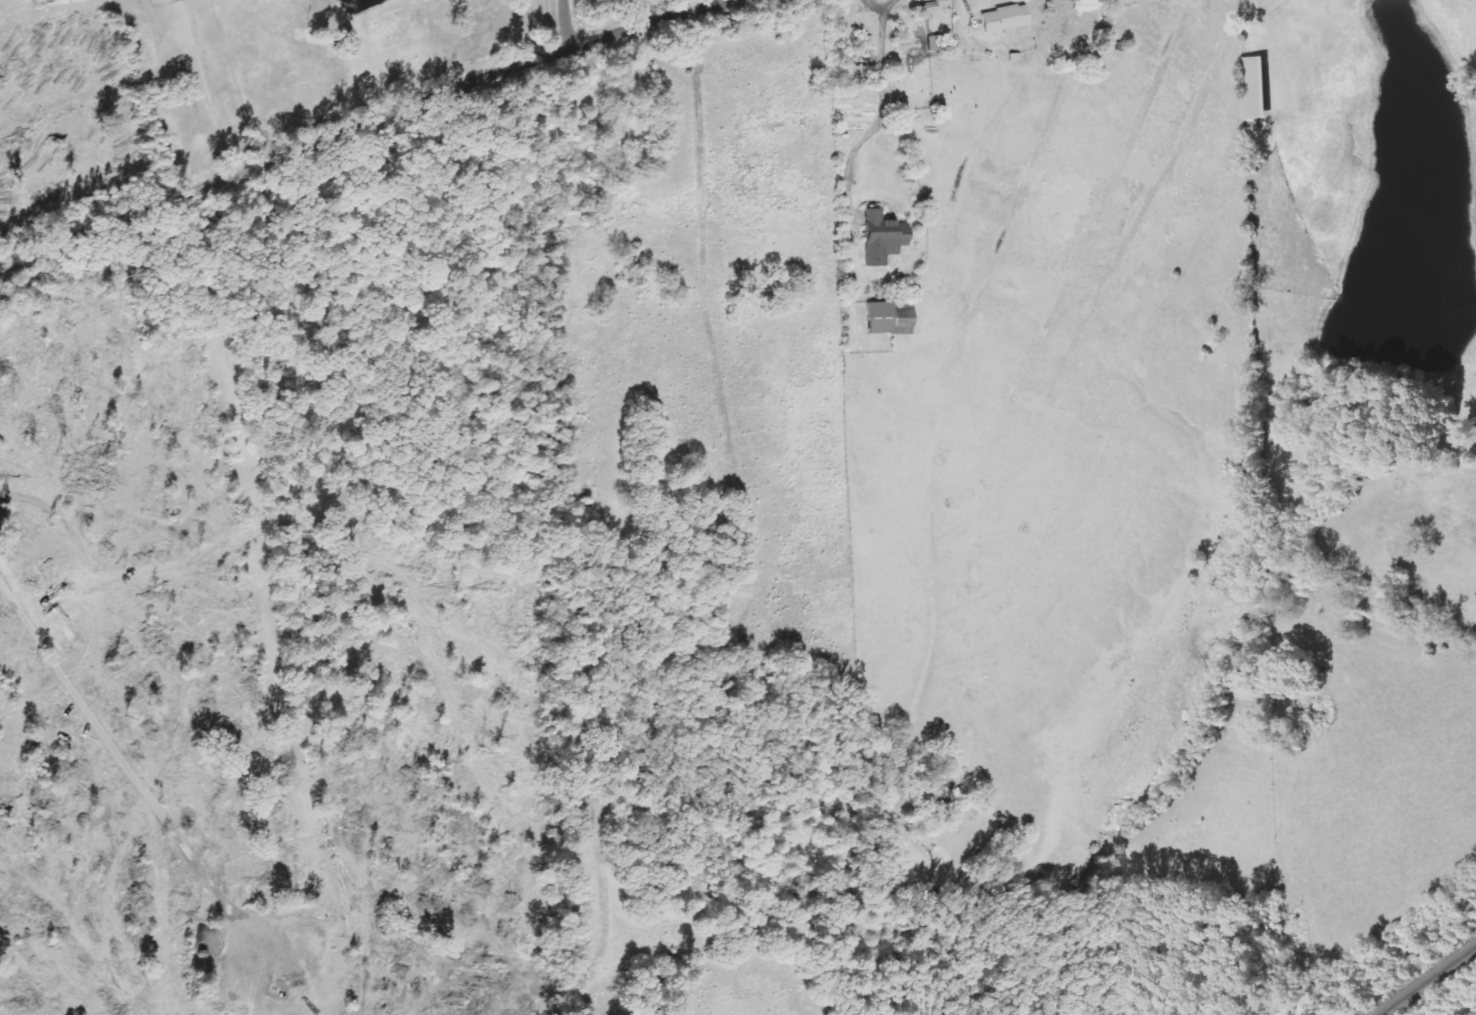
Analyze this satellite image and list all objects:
building: (1002, 19)
road: (564, 25)
building: (853, 73)
building: (1257, 88)
road: (426, 99)
building: (879, 238)
building: (886, 319)
railway: (1426, 979)

